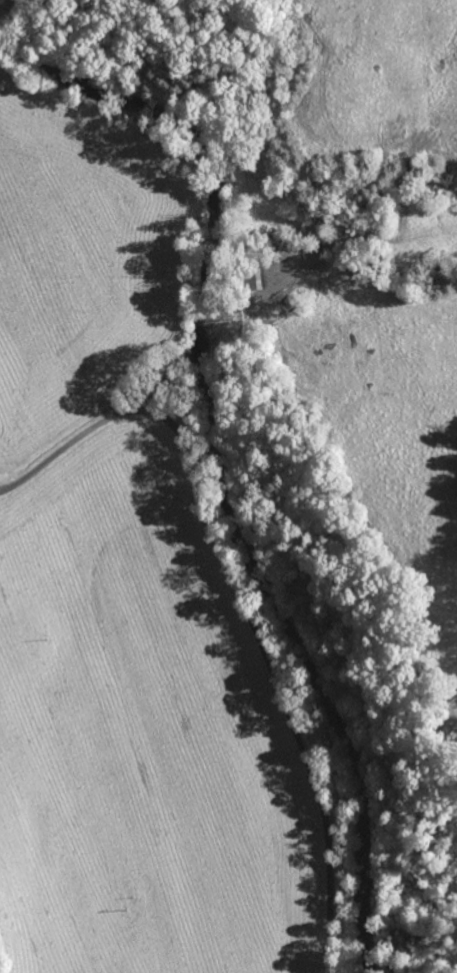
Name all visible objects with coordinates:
road: (240, 602)

